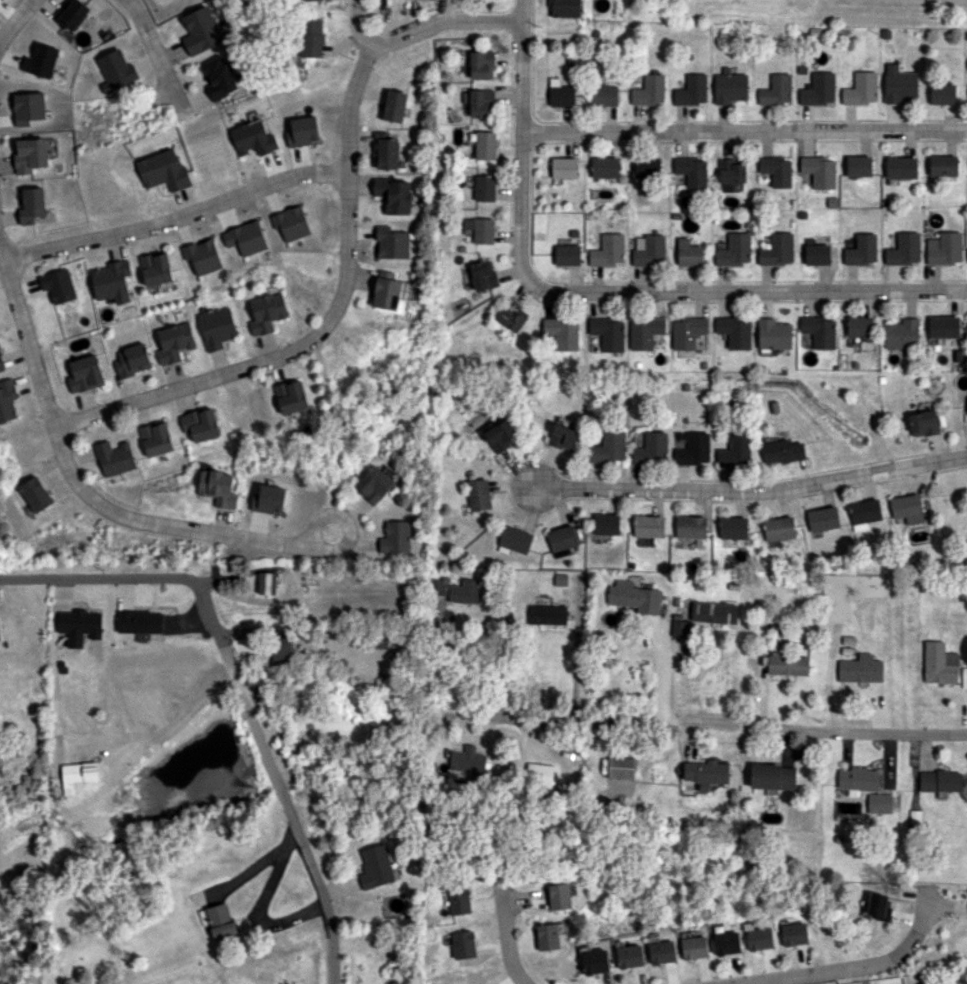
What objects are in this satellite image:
building: (320, 0)
building: (565, 8)
building: (71, 14)
road: (445, 18)
road: (15, 20)
road: (352, 29)
building: (201, 30)
building: (311, 37)
road: (157, 57)
building: (39, 60)
building: (482, 65)
building: (116, 70)
building: (218, 77)
building: (899, 84)
building: (730, 86)
building: (861, 88)
building: (819, 89)
building: (649, 90)
building: (692, 90)
building: (776, 90)
building: (561, 93)
building: (942, 93)
building: (605, 95)
building: (479, 103)
building: (392, 105)
road: (744, 129)
building: (253, 138)
building: (485, 145)
building: (29, 155)
building: (943, 165)
building: (858, 166)
building: (564, 167)
building: (605, 167)
building: (901, 167)
building: (647, 168)
building: (163, 170)
building: (776, 170)
building: (692, 171)
building: (819, 171)
building: (731, 175)
building: (484, 188)
building: (395, 195)
building: (31, 204)
road: (174, 218)
building: (481, 229)
building: (944, 248)
building: (904, 249)
building: (608, 250)
building: (649, 250)
building: (735, 250)
building: (777, 250)
building: (862, 250)
building: (689, 253)
building: (817, 254)
building: (567, 255)
building: (156, 269)
building: (483, 274)
building: (112, 282)
building: (58, 285)
road: (606, 289)
building: (390, 292)
building: (267, 313)
building: (512, 316)
road: (325, 326)
building: (943, 326)
building: (217, 327)
building: (860, 327)
building: (735, 331)
building: (820, 331)
building: (562, 332)
building: (645, 332)
building: (688, 332)
building: (608, 333)
building: (902, 333)
building: (774, 334)
building: (175, 342)
building: (133, 359)
building: (2, 363)
building: (86, 374)
building: (292, 396)
building: (8, 400)
building: (924, 423)
building: (202, 424)
building: (502, 435)
building: (564, 436)
building: (157, 438)
building: (610, 447)
building: (652, 449)
building: (694, 450)
building: (736, 451)
building: (782, 451)
building: (116, 458)
road: (77, 478)
building: (375, 484)
building: (218, 487)
road: (753, 489)
building: (36, 494)
building: (479, 494)
building: (908, 508)
building: (865, 511)
building: (823, 518)
building: (606, 524)
building: (648, 526)
building: (691, 526)
building: (733, 527)
building: (779, 528)
building: (396, 537)
building: (562, 538)
building: (515, 539)
road: (343, 547)
building: (560, 579)
building: (267, 583)
building: (459, 590)
building: (634, 597)
building: (714, 612)
building: (547, 614)
building: (140, 621)
building: (80, 626)
building: (680, 628)
road: (299, 635)
building: (0, 637)
building: (282, 649)
road: (461, 660)
building: (939, 663)
road: (579, 664)
building: (788, 665)
road: (660, 669)
building: (860, 670)
road: (245, 683)
road: (683, 722)
building: (467, 759)
building: (620, 767)
building: (539, 773)
building: (706, 773)
building: (78, 774)
building: (773, 776)
building: (858, 780)
building: (940, 781)
building: (880, 803)
building: (376, 867)
building: (562, 895)
building: (459, 900)
building: (879, 906)
building: (219, 920)
building: (794, 933)
building: (548, 936)
building: (760, 938)
road: (509, 942)
building: (727, 943)
building: (464, 944)
building: (695, 947)
building: (662, 952)
building: (630, 956)
building: (595, 961)
road: (851, 967)
road: (755, 982)

